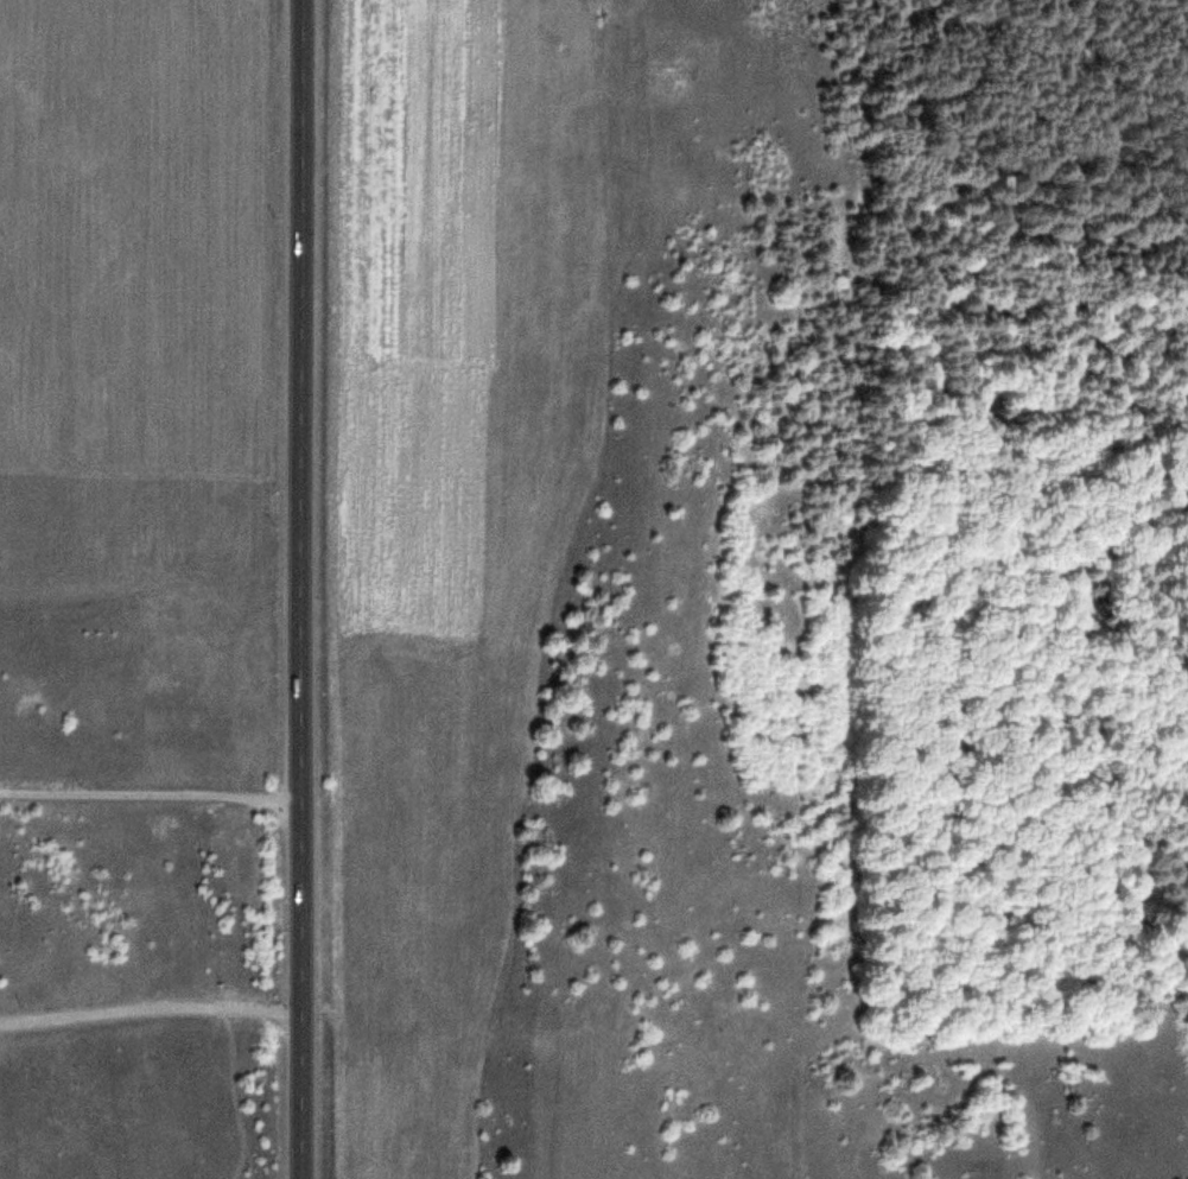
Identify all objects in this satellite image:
road: (300, 589)
road: (151, 793)

